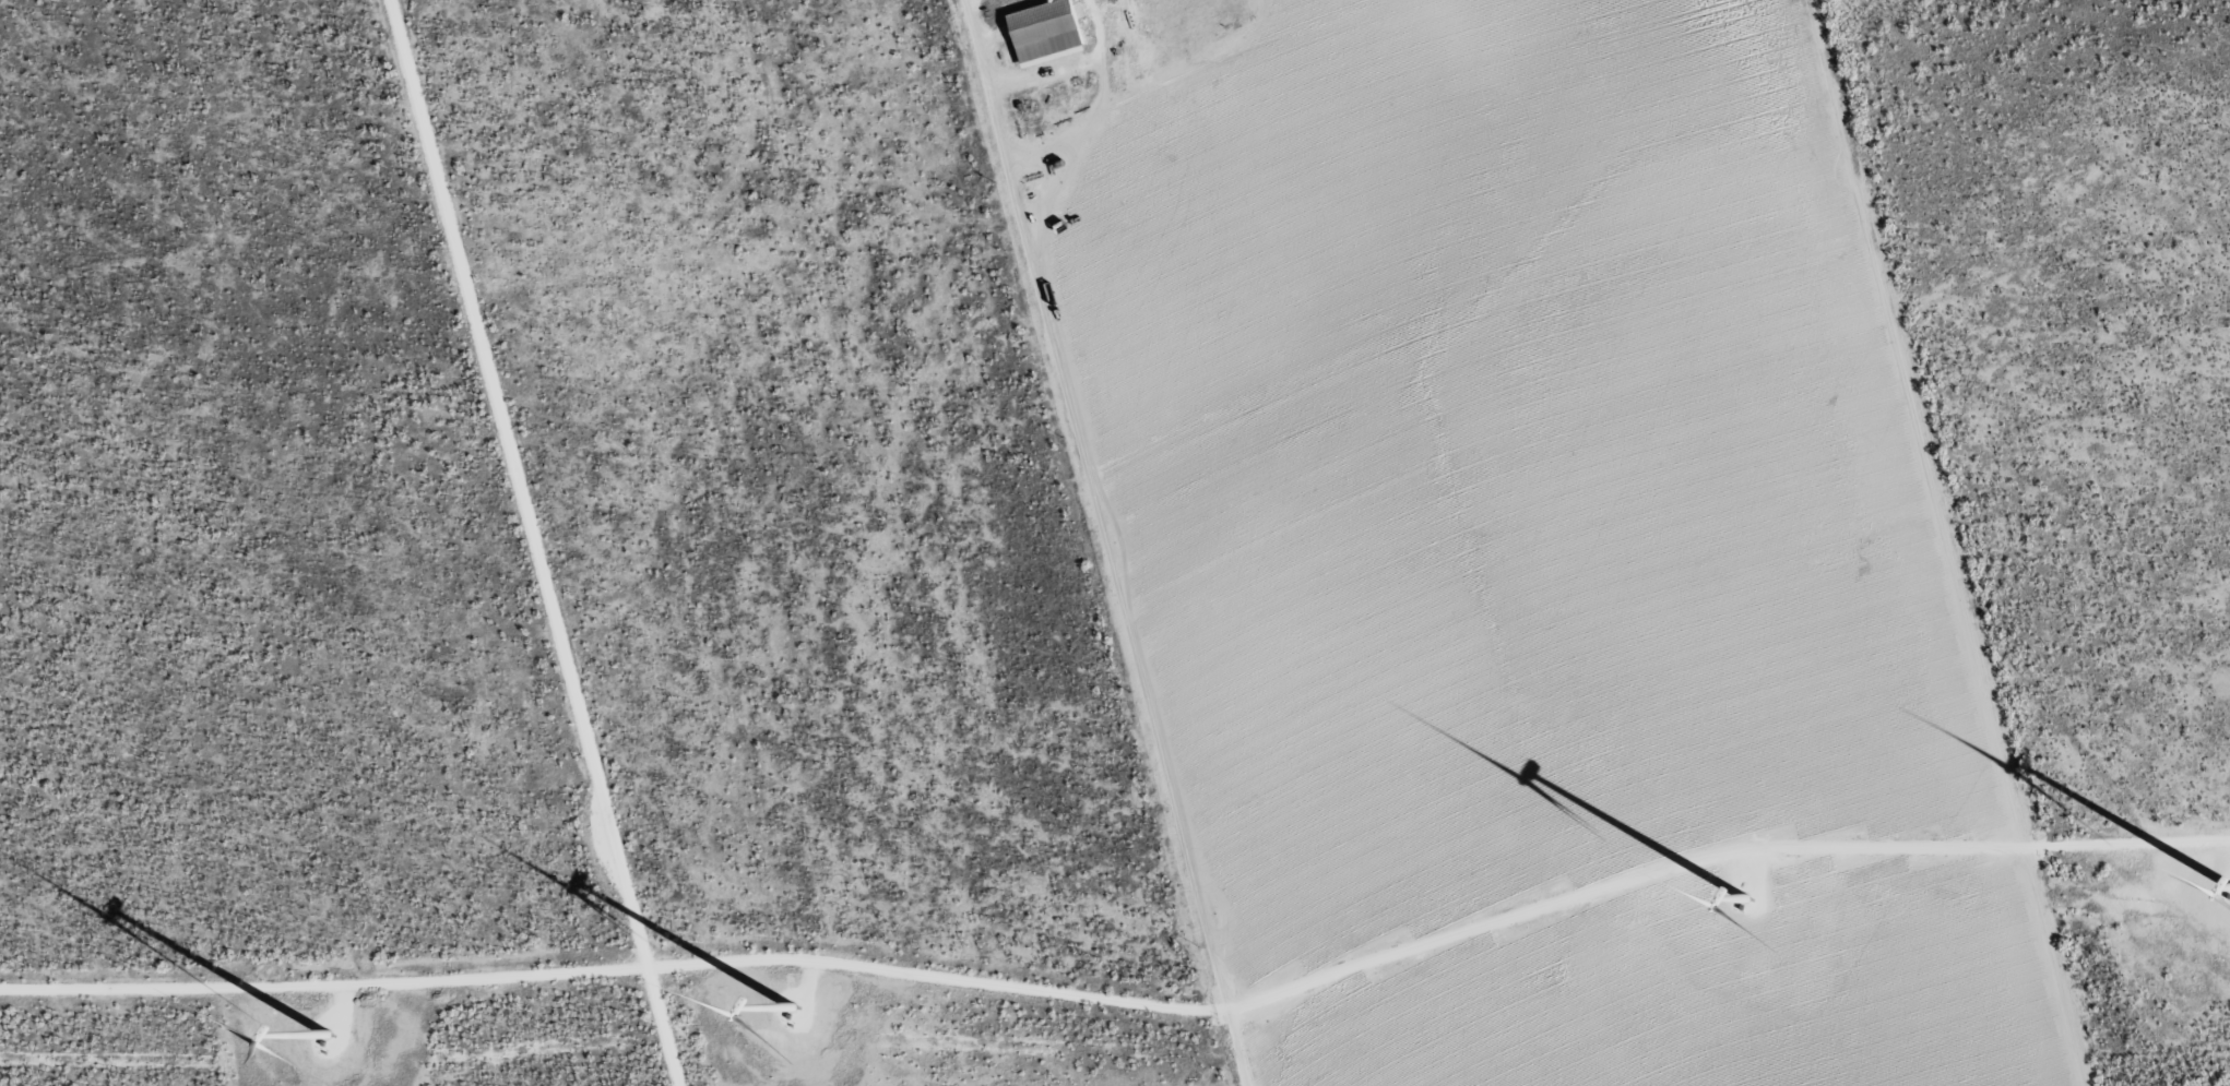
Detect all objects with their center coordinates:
building: (1045, 32)
road: (1020, 163)
wind turbine: (2228, 891)
wind turbine: (1749, 905)
wind turbine: (786, 1013)
wind turbine: (325, 1042)

